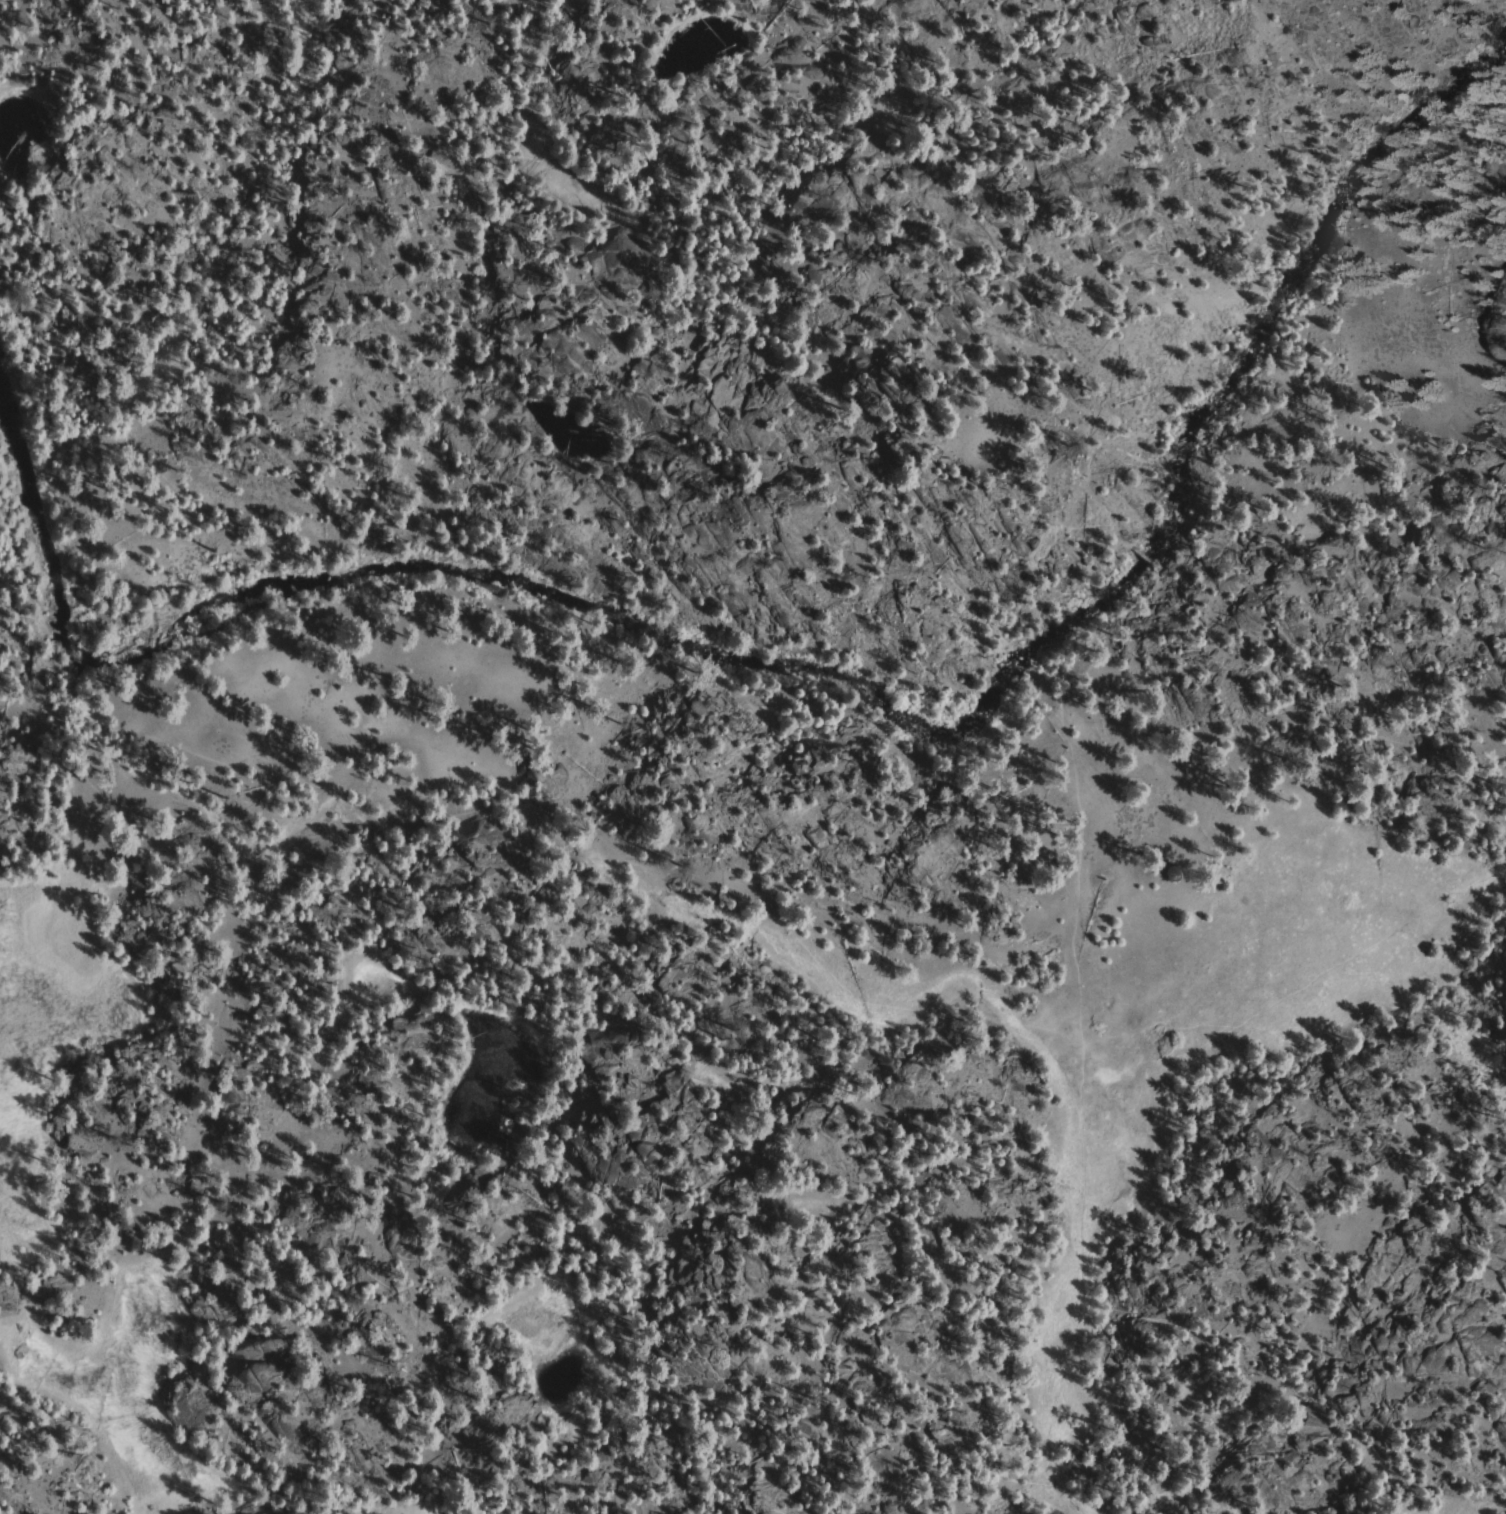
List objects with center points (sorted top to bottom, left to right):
road: (1022, 136)
road: (1134, 318)
road: (1078, 1135)

